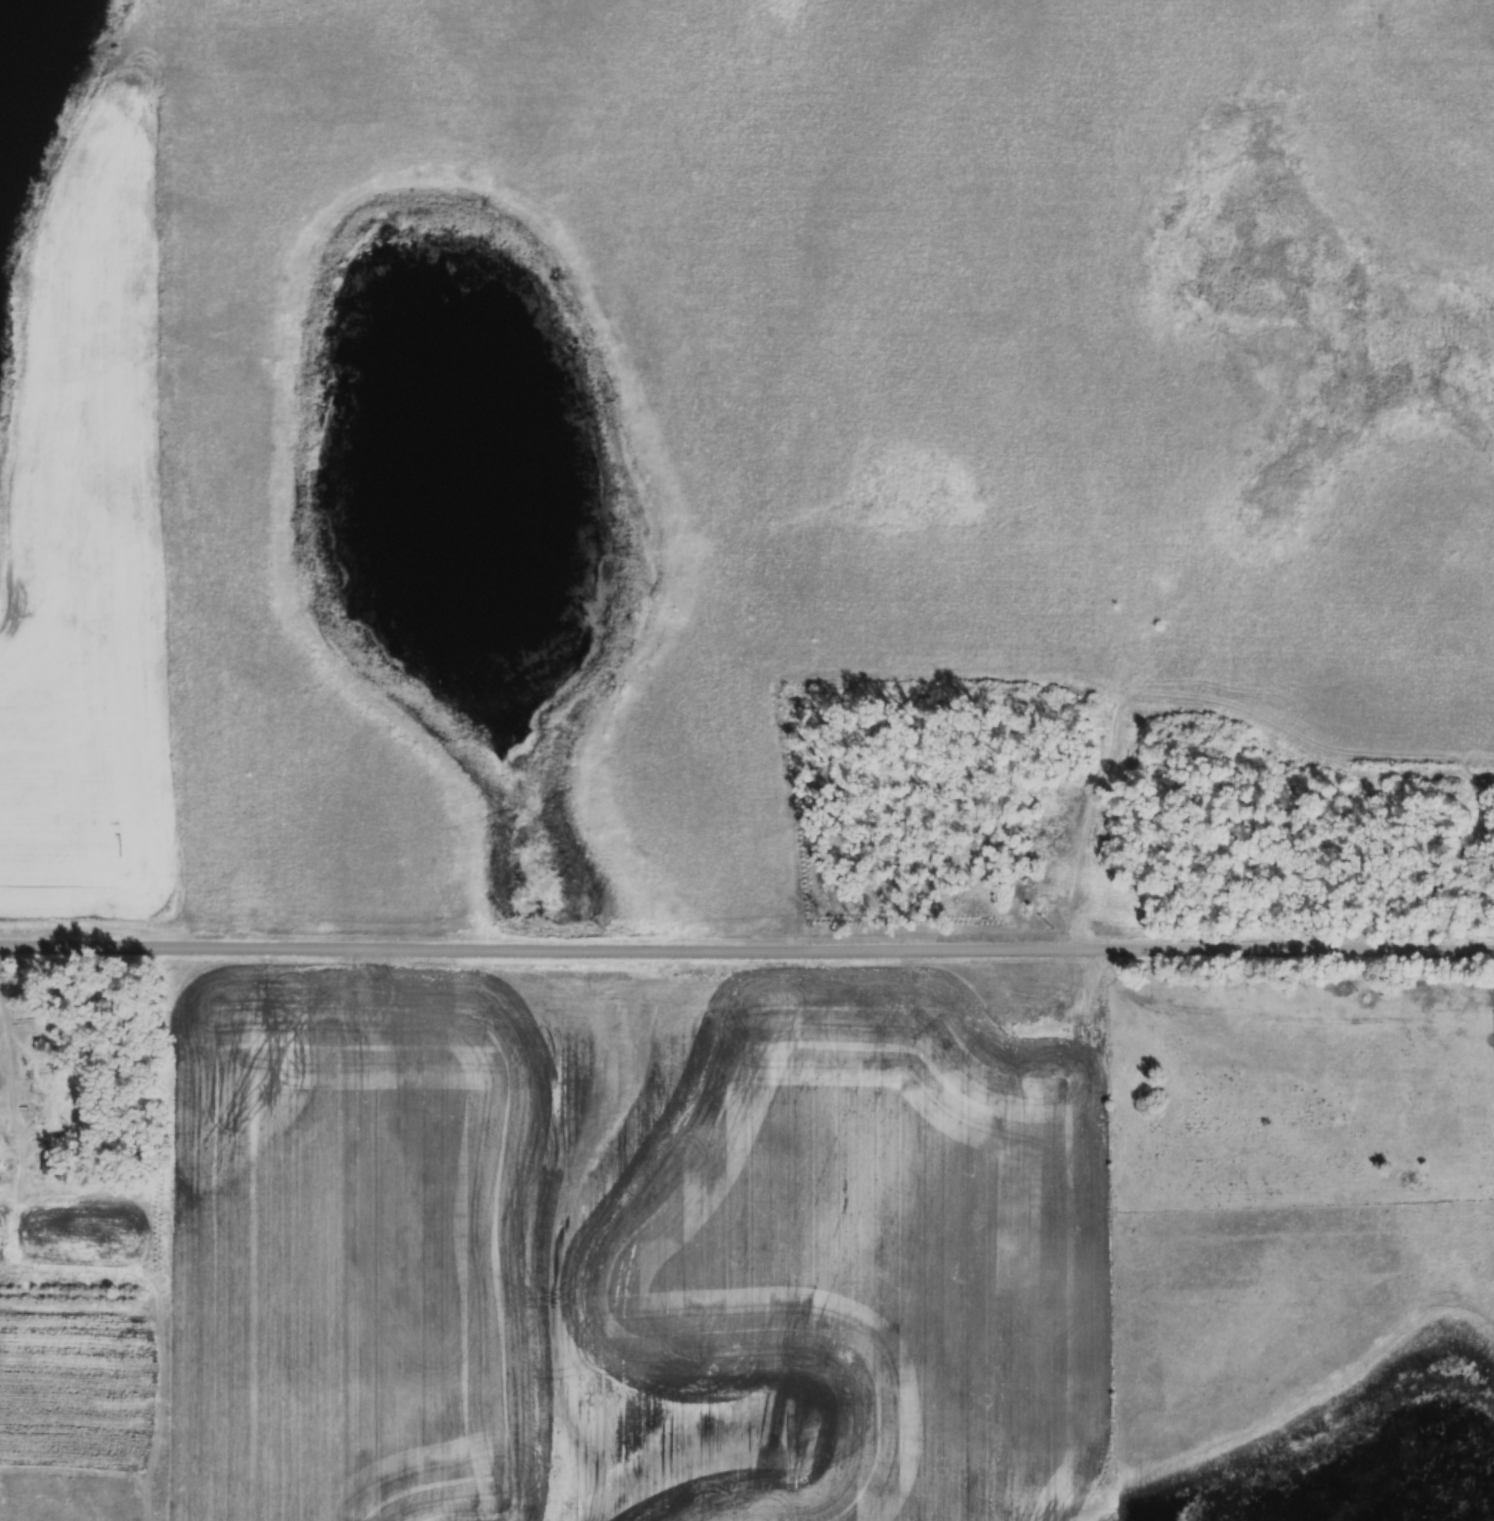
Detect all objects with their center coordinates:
road: (747, 949)
building: (55, 1165)

